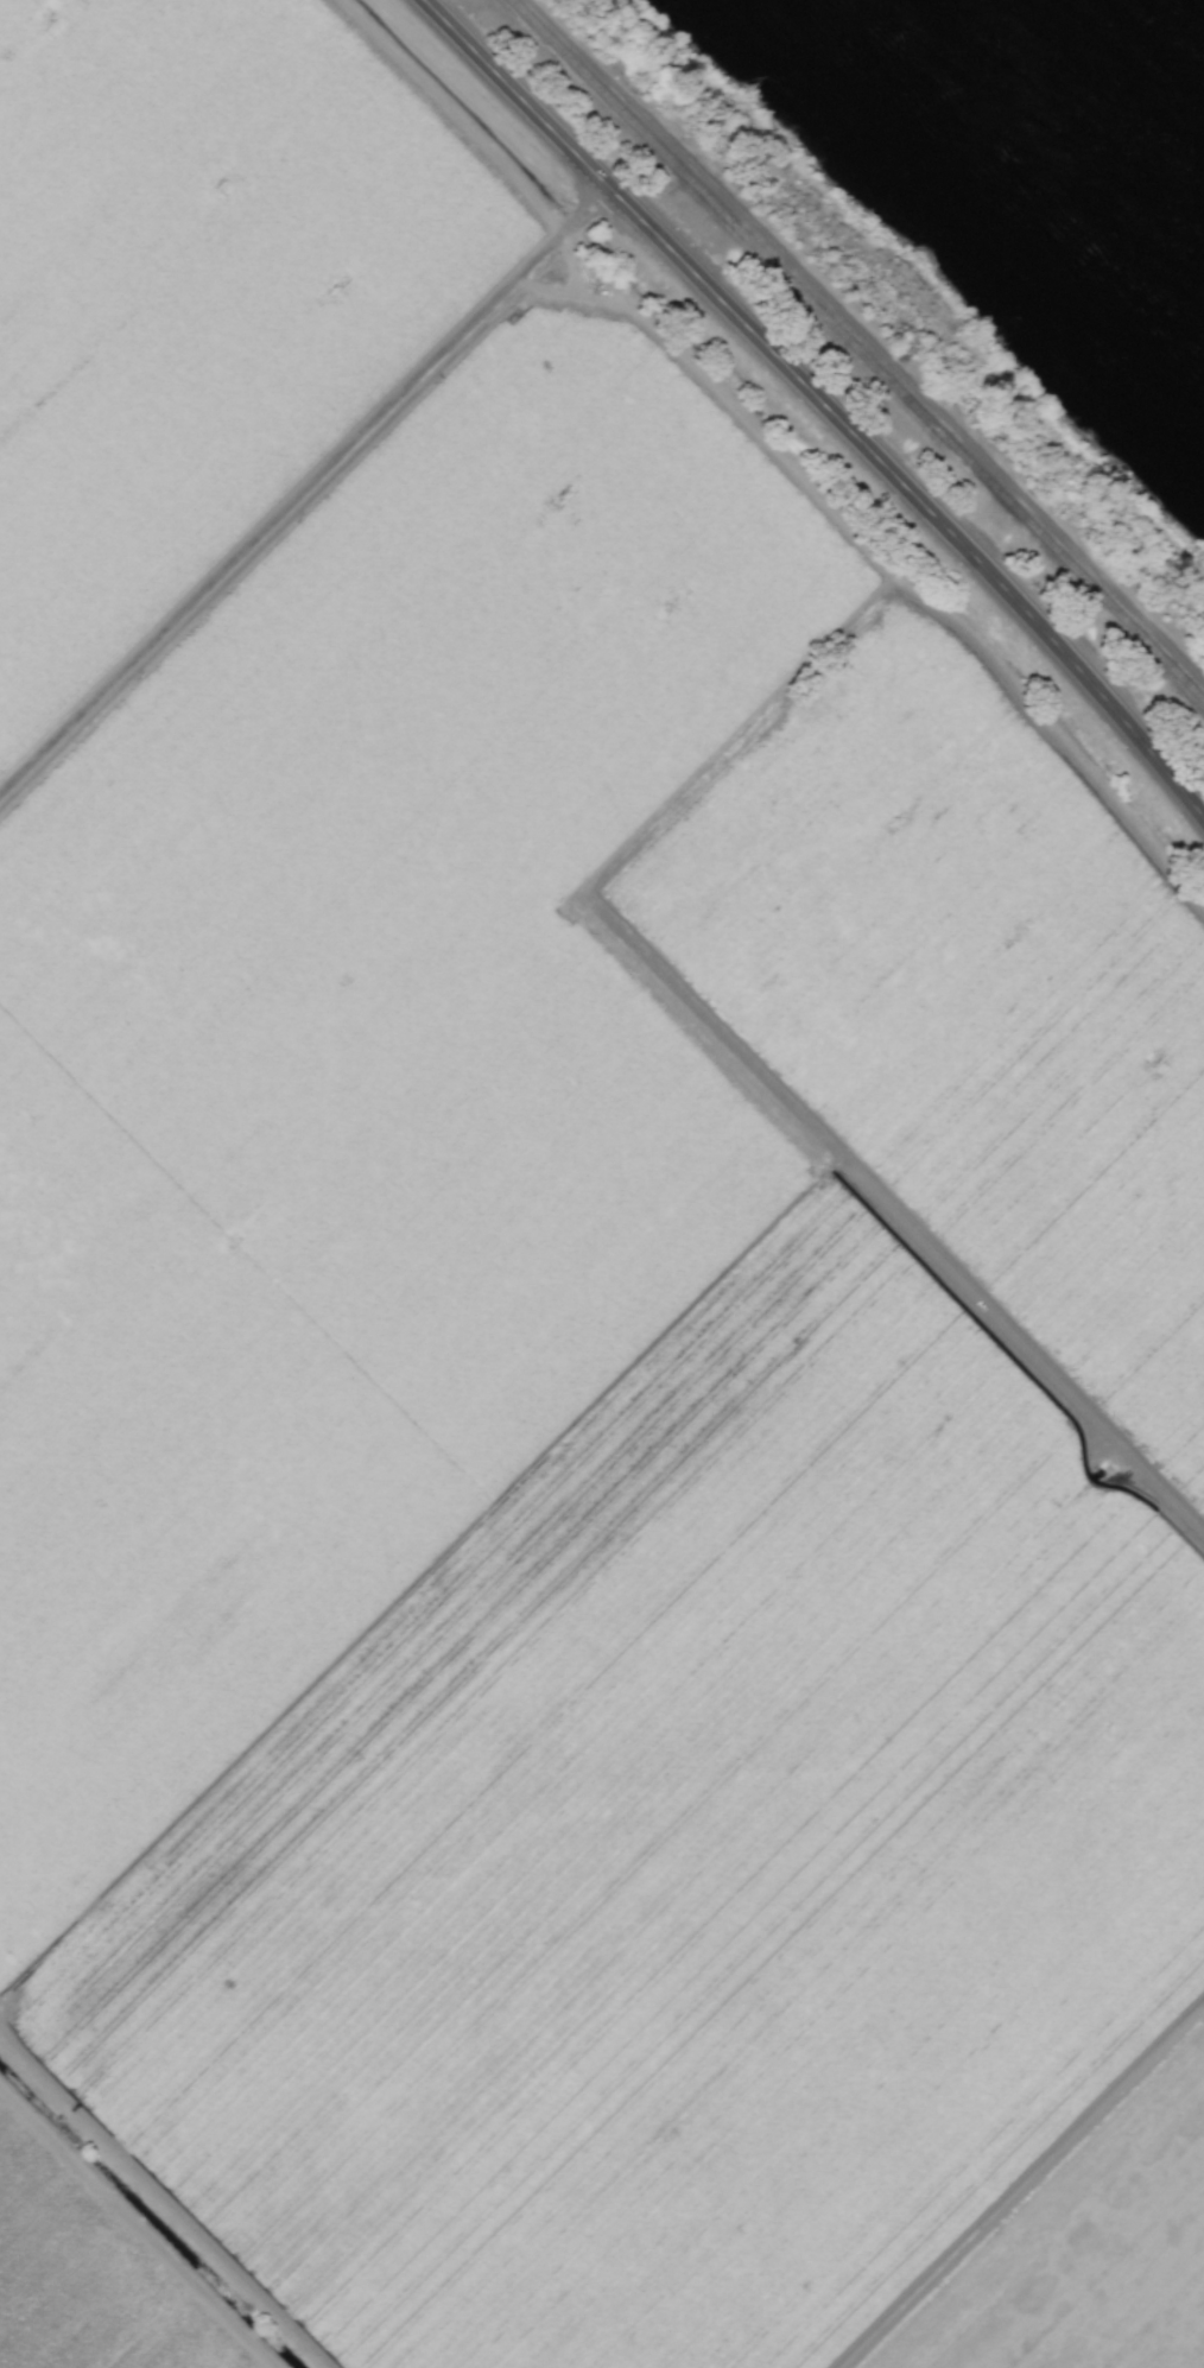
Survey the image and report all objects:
river: (1076, 115)
railway: (858, 349)
road: (819, 401)
road: (303, 495)
crop: (557, 1296)
road: (1027, 2187)
road: (134, 2224)

